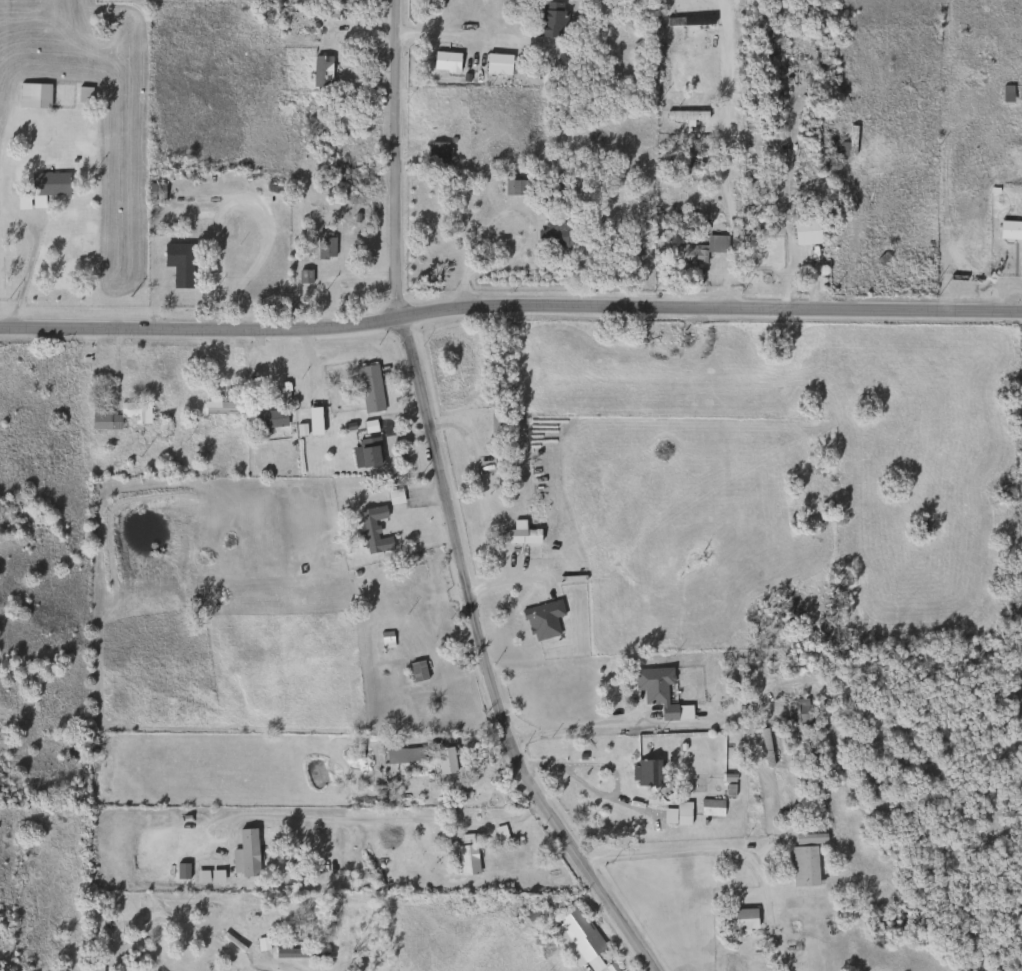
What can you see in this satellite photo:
building: (547, 21)
building: (686, 22)
road: (459, 36)
building: (981, 44)
building: (495, 64)
building: (320, 72)
building: (32, 91)
building: (1010, 93)
building: (848, 140)
road: (722, 153)
building: (435, 156)
building: (952, 168)
building: (46, 186)
building: (517, 187)
building: (154, 192)
building: (20, 202)
road: (256, 208)
building: (804, 231)
building: (1009, 231)
building: (553, 234)
building: (322, 245)
building: (697, 250)
building: (768, 252)
building: (177, 264)
road: (23, 270)
building: (303, 278)
road: (509, 300)
building: (368, 389)
building: (220, 407)
building: (134, 411)
building: (101, 419)
building: (269, 419)
road: (455, 436)
building: (366, 452)
road: (445, 508)
building: (370, 530)
building: (521, 534)
road: (504, 579)
building: (540, 620)
building: (384, 640)
building: (416, 671)
building: (654, 689)
building: (800, 710)
road: (570, 727)
building: (763, 737)
building: (402, 756)
building: (445, 761)
road: (564, 767)
building: (645, 773)
building: (710, 808)
building: (681, 813)
building: (495, 824)
road: (711, 845)
building: (465, 860)
building: (802, 863)
building: (737, 920)
building: (579, 934)
building: (297, 953)
road: (280, 966)

